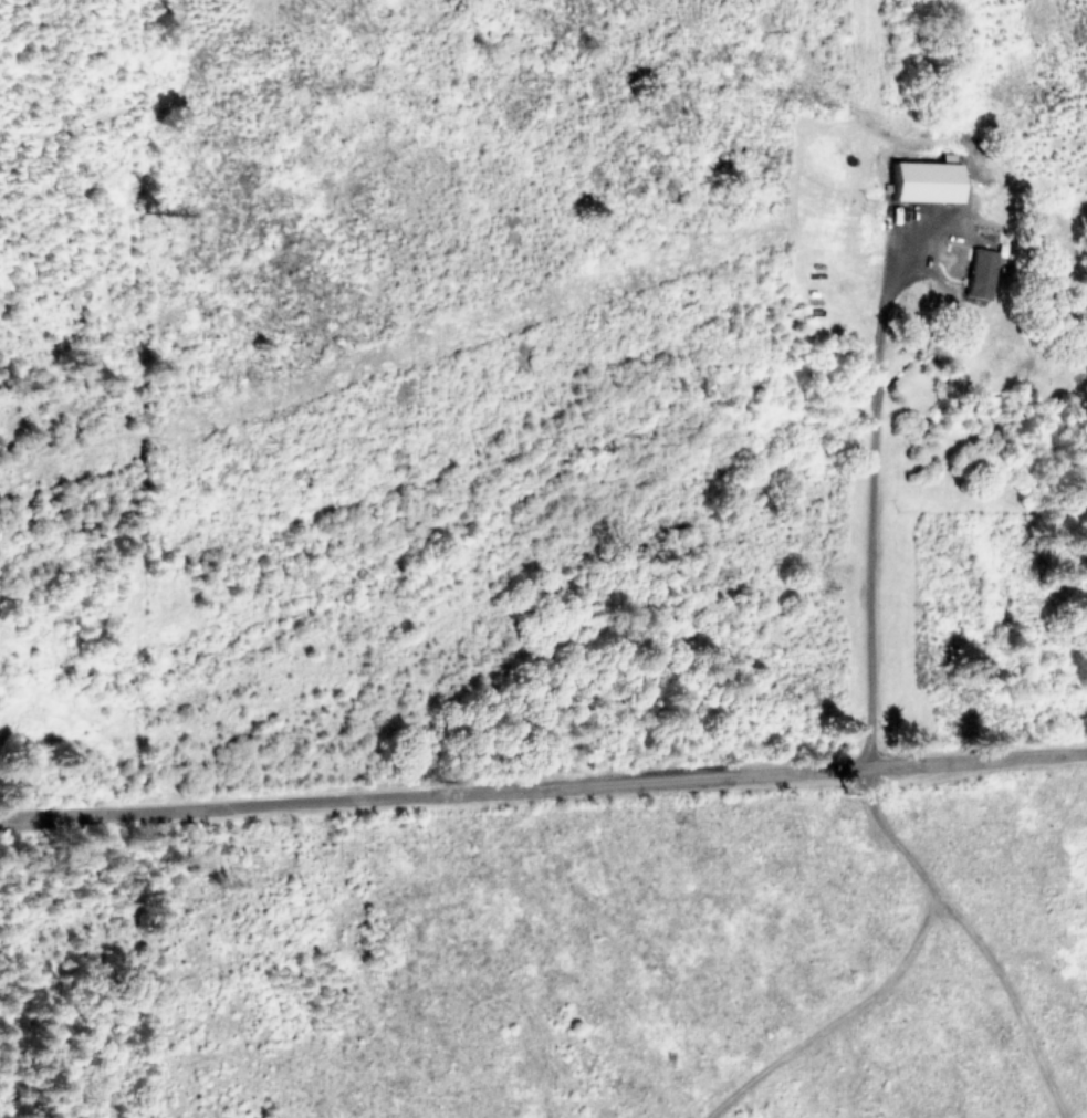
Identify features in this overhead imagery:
building: (923, 180)
building: (979, 273)
road: (868, 480)
road: (543, 791)

